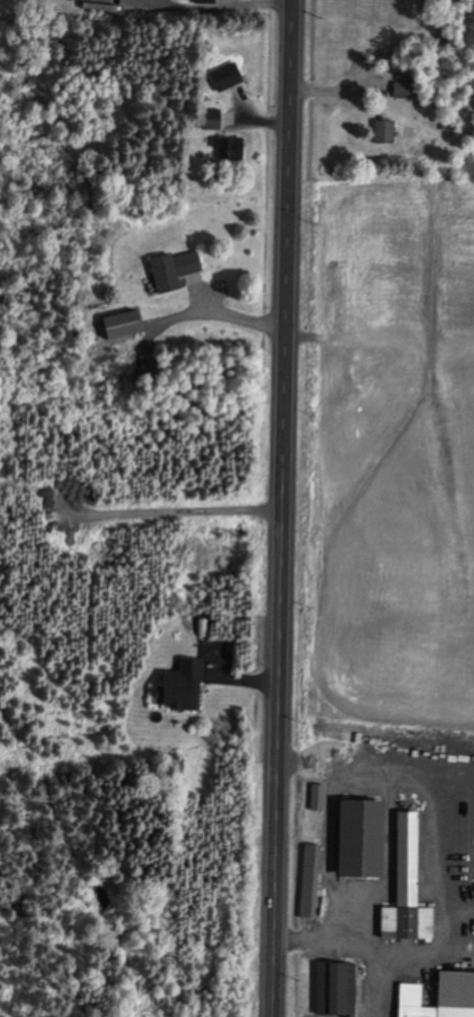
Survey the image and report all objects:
building: (224, 77)
building: (396, 91)
building: (206, 120)
building: (380, 133)
building: (224, 151)
building: (168, 270)
building: (117, 326)
road: (280, 508)
building: (175, 687)
building: (352, 839)
building: (307, 883)
building: (400, 889)
building: (467, 908)
building: (332, 990)
building: (442, 998)

